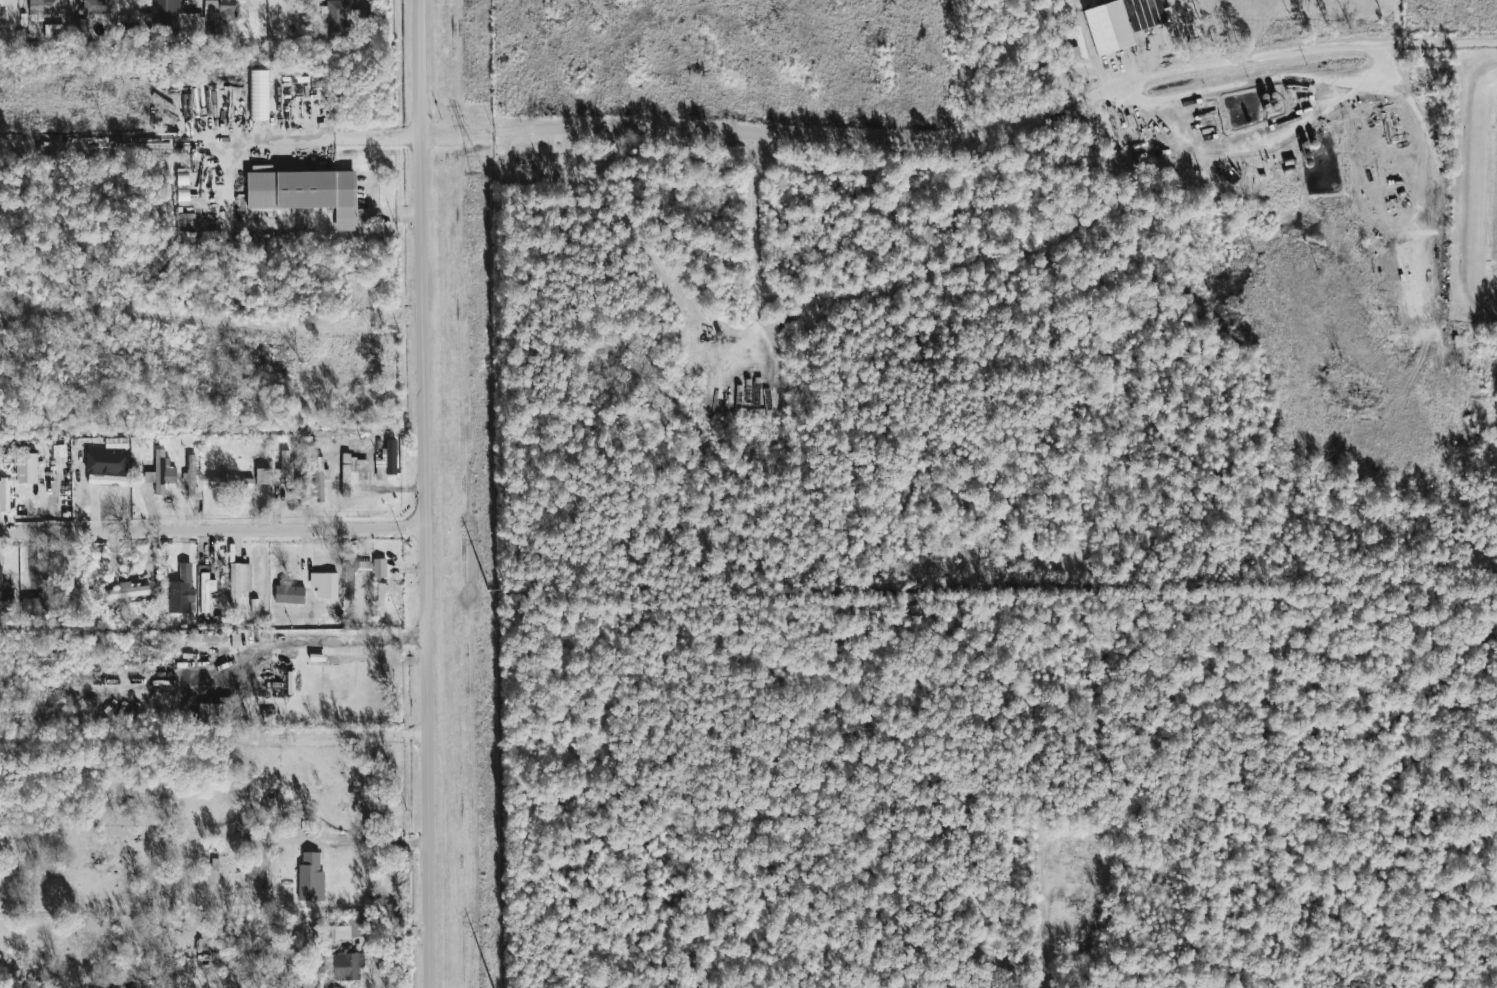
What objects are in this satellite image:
building: (44, 6)
building: (99, 6)
building: (220, 10)
building: (1145, 13)
building: (336, 14)
road: (4, 15)
building: (177, 18)
building: (80, 27)
building: (1109, 27)
building: (1063, 48)
road: (1276, 77)
building: (259, 95)
road: (1306, 103)
road: (1432, 135)
road: (965, 144)
road: (273, 145)
road: (1133, 149)
road: (1267, 149)
power tower: (480, 179)
building: (306, 192)
road: (759, 231)
road: (1424, 310)
road: (723, 380)
building: (135, 442)
building: (59, 450)
building: (387, 461)
building: (359, 464)
building: (106, 466)
building: (26, 467)
building: (284, 467)
building: (161, 472)
building: (191, 474)
building: (345, 474)
building: (263, 475)
building: (320, 478)
building: (230, 482)
road: (425, 493)
building: (4, 494)
road: (213, 531)
building: (362, 564)
building: (306, 565)
building: (379, 567)
building: (38, 577)
building: (239, 581)
building: (330, 584)
building: (65, 586)
building: (127, 590)
building: (181, 590)
building: (206, 590)
power tower: (486, 590)
building: (289, 592)
building: (5, 595)
building: (381, 599)
building: (207, 637)
road: (312, 638)
building: (317, 656)
building: (216, 710)
road: (214, 738)
road: (380, 844)
building: (311, 878)
building: (349, 928)
road: (1046, 928)
building: (220, 960)
building: (345, 965)

